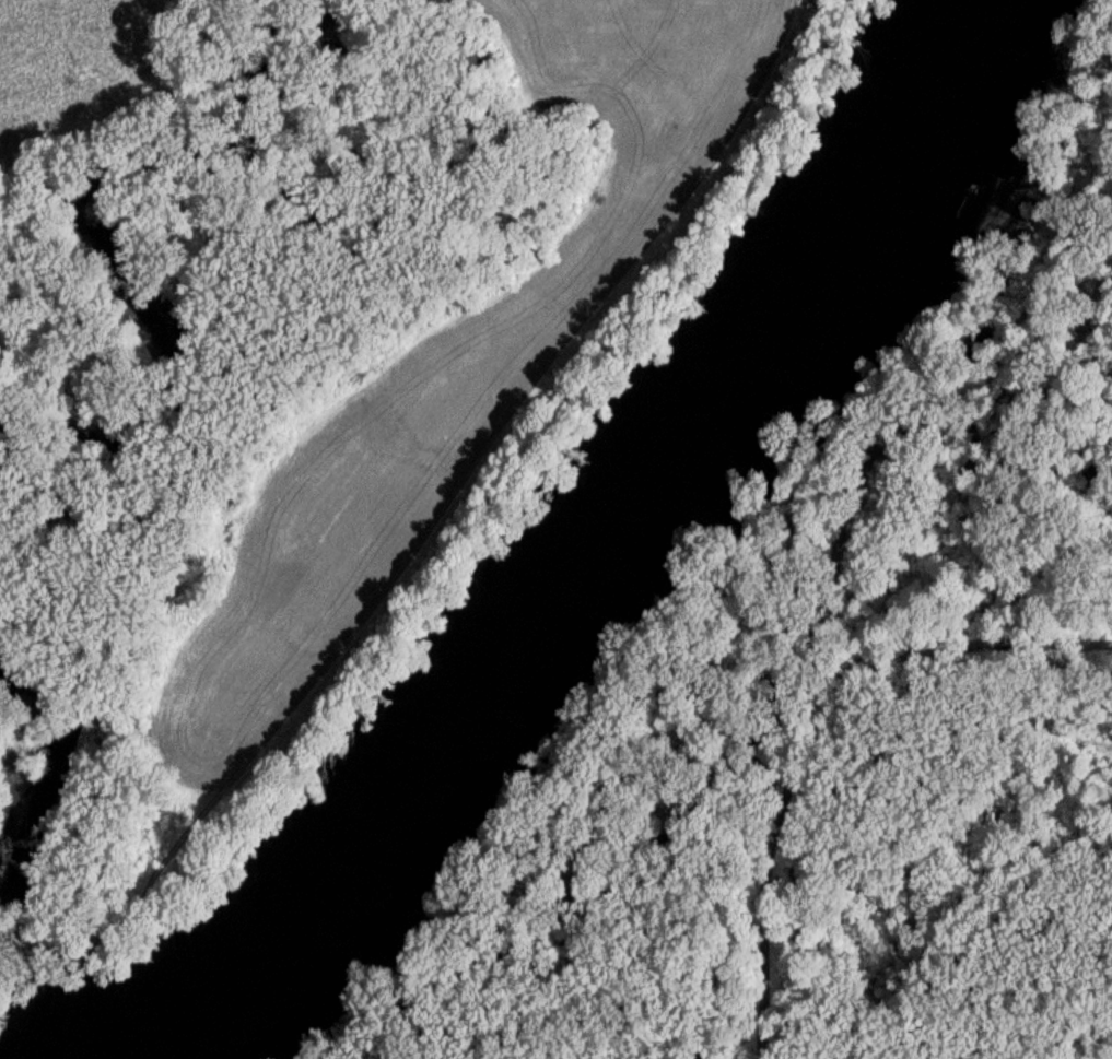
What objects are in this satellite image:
river: (211, 278)
river: (576, 546)
road: (801, 728)
river: (21, 902)

